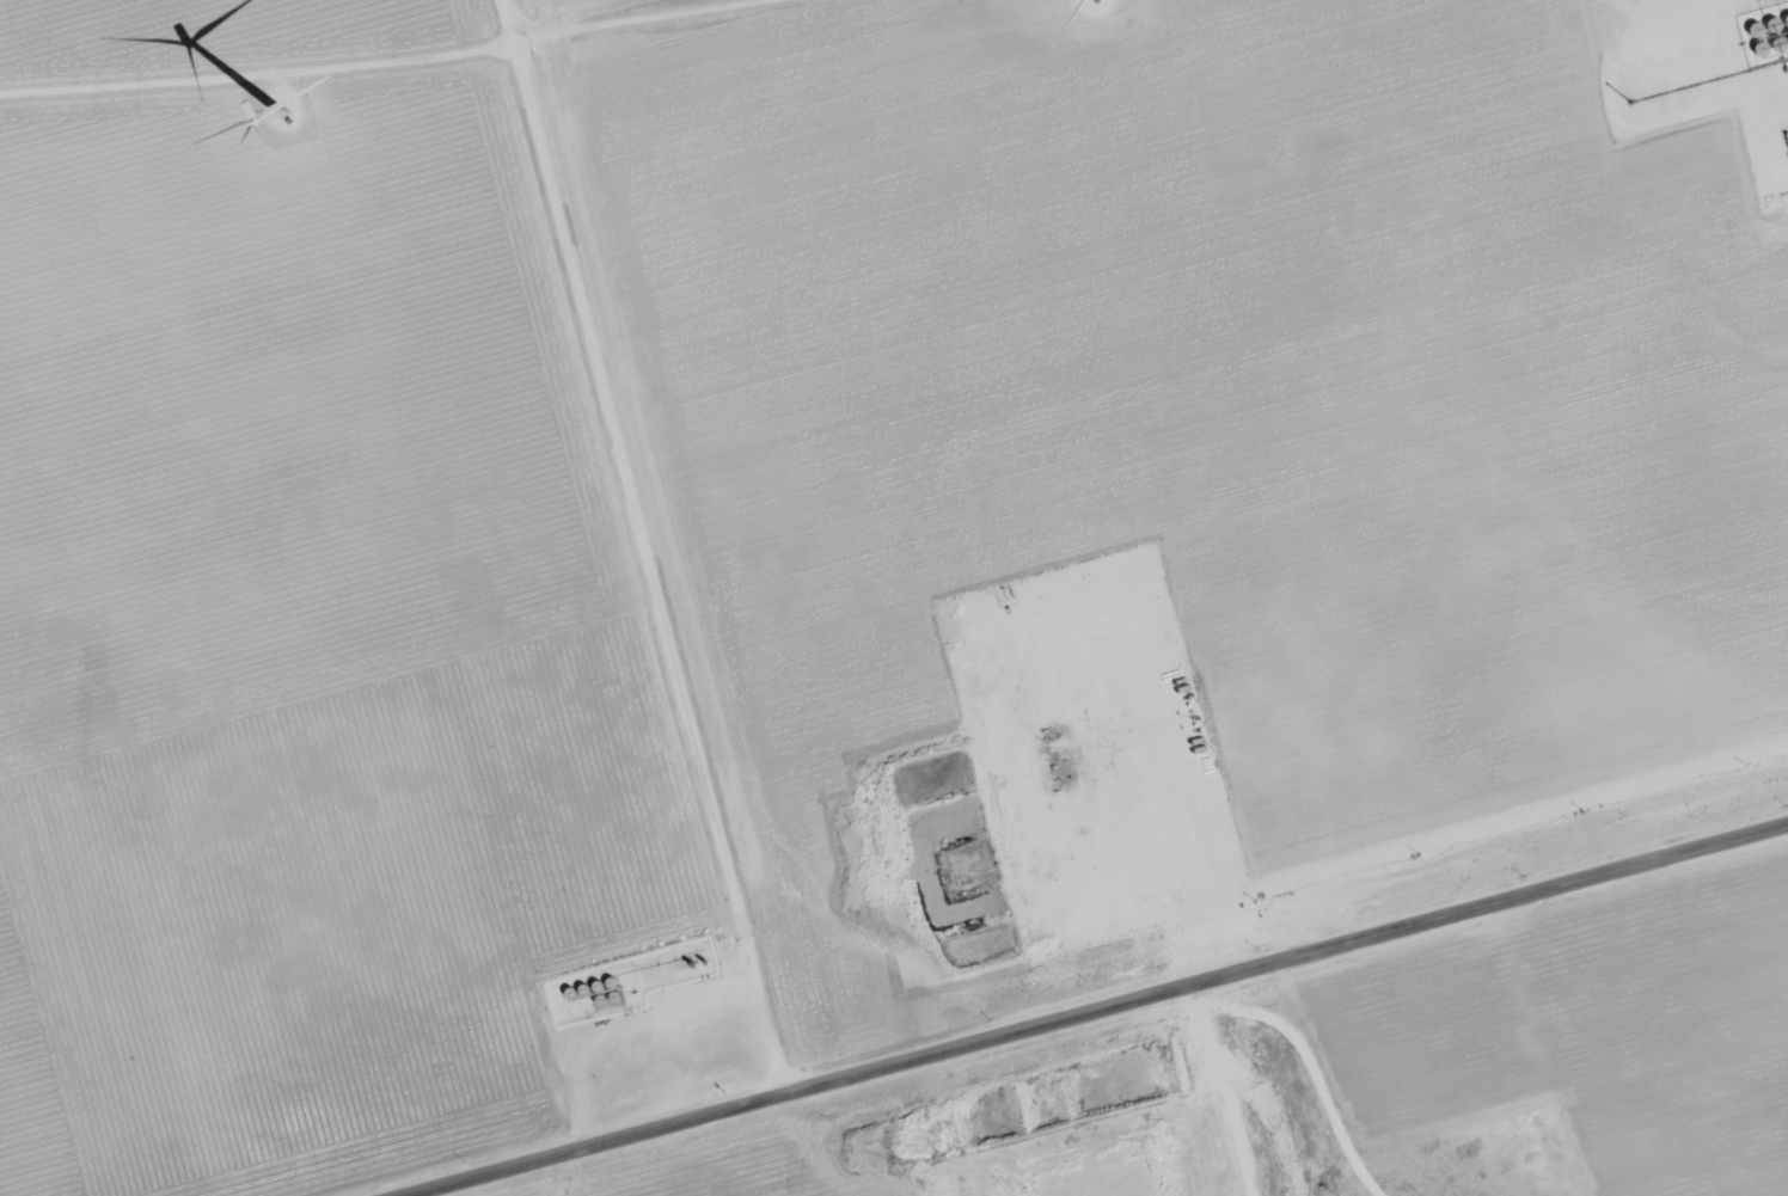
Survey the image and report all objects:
wind turbine: (276, 117)
road: (1475, 835)
road: (1089, 1008)
road: (1306, 1063)

